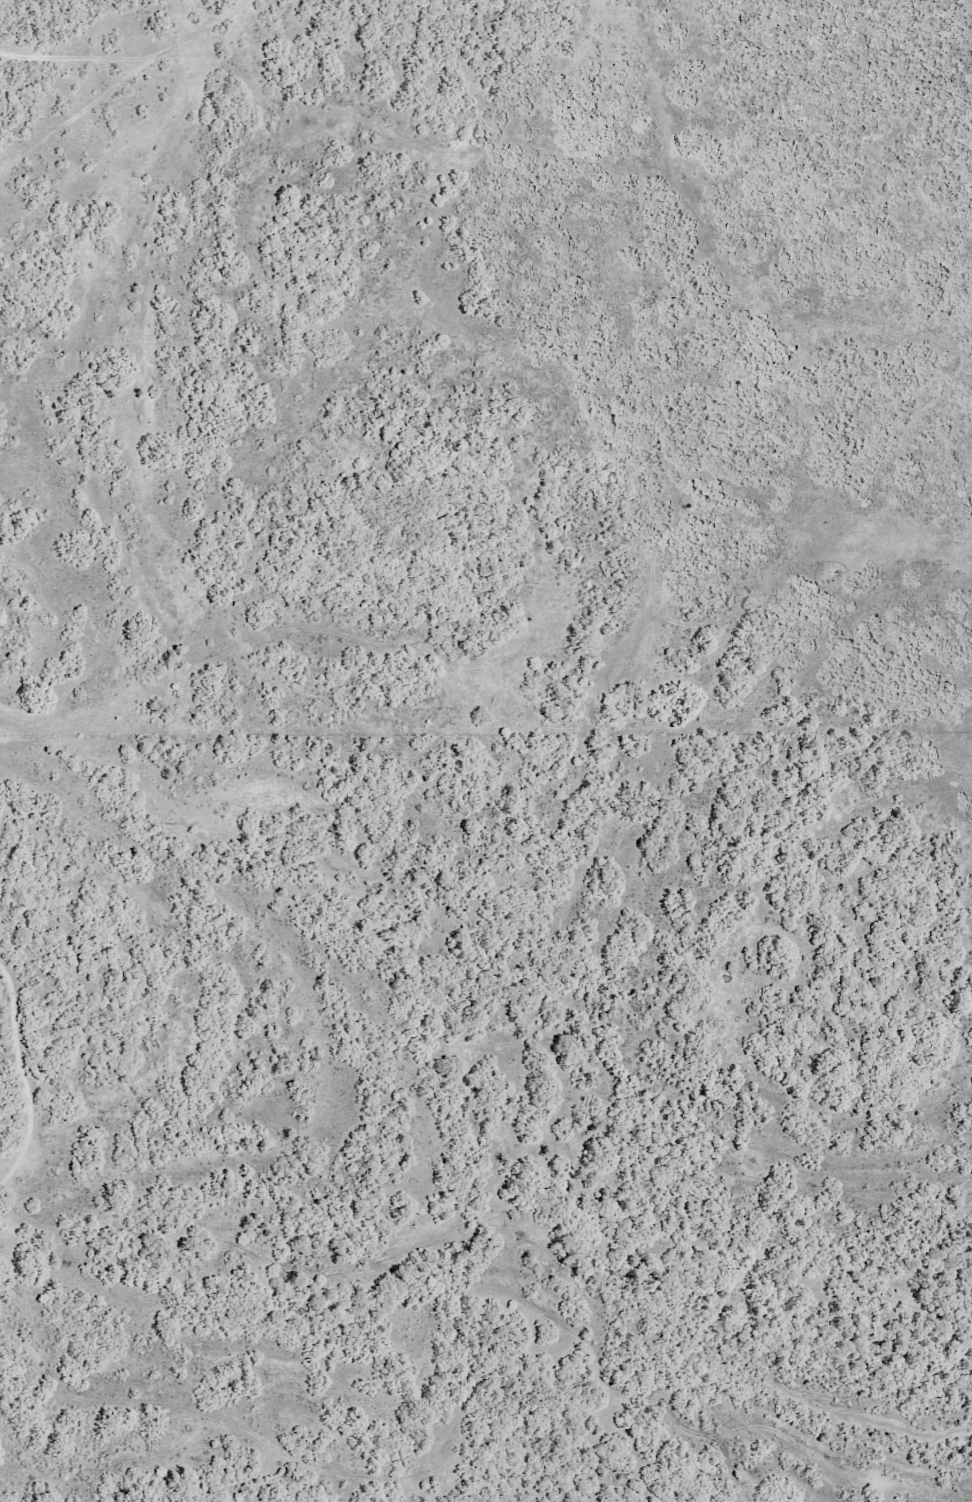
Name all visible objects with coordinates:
road: (237, 35)
road: (96, 122)
road: (606, 173)
road: (36, 1077)

